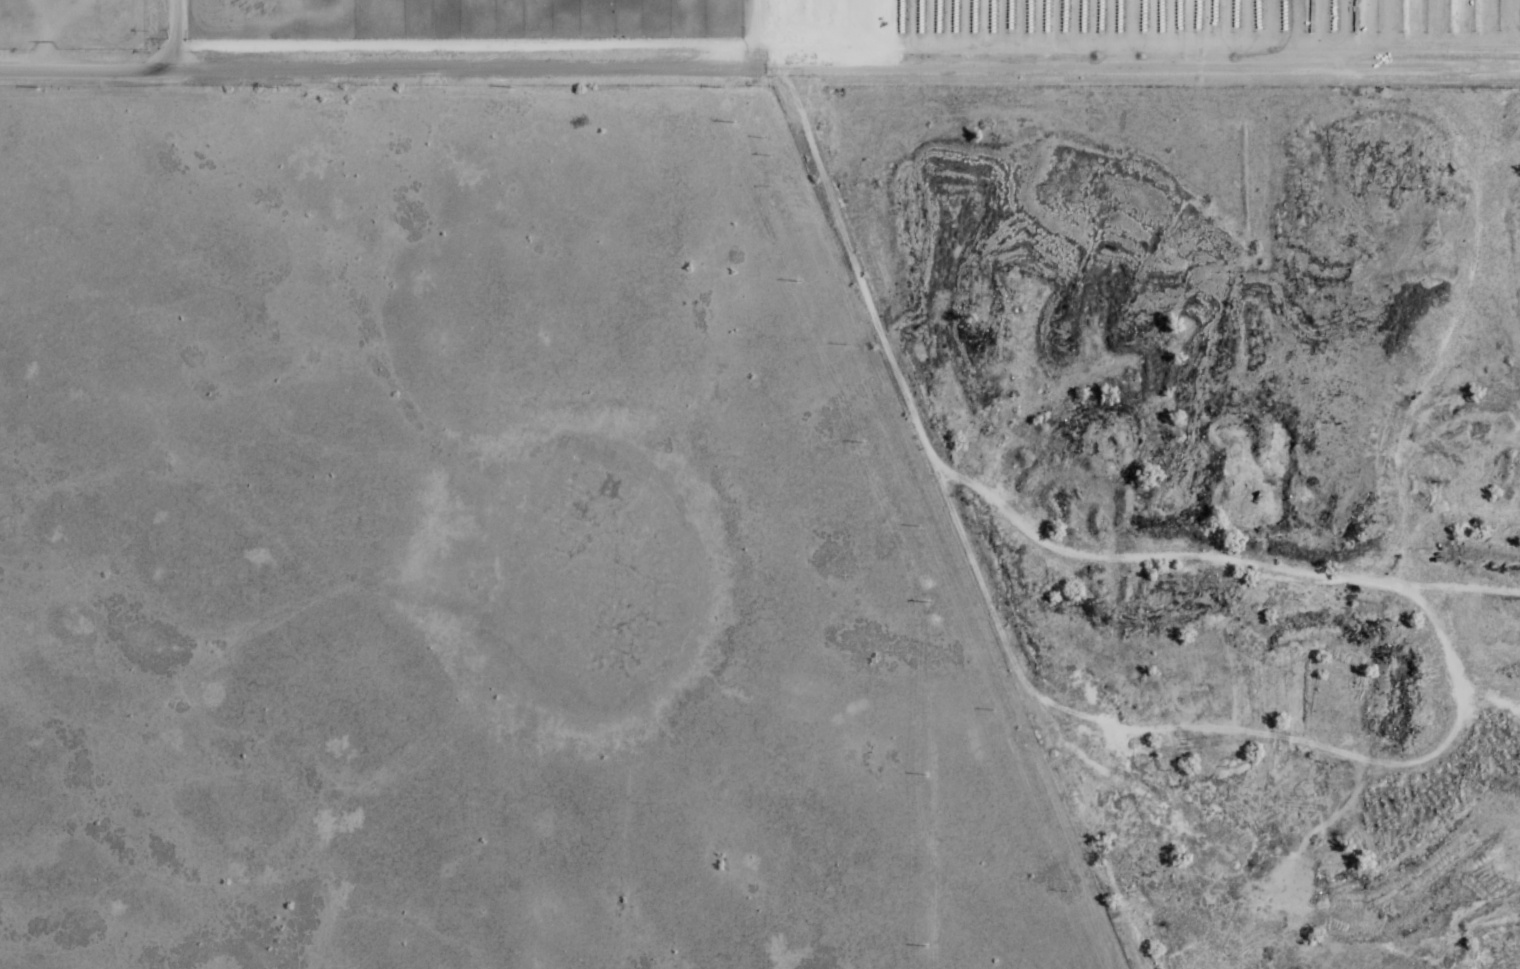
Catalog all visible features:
road: (759, 34)
road: (379, 70)

